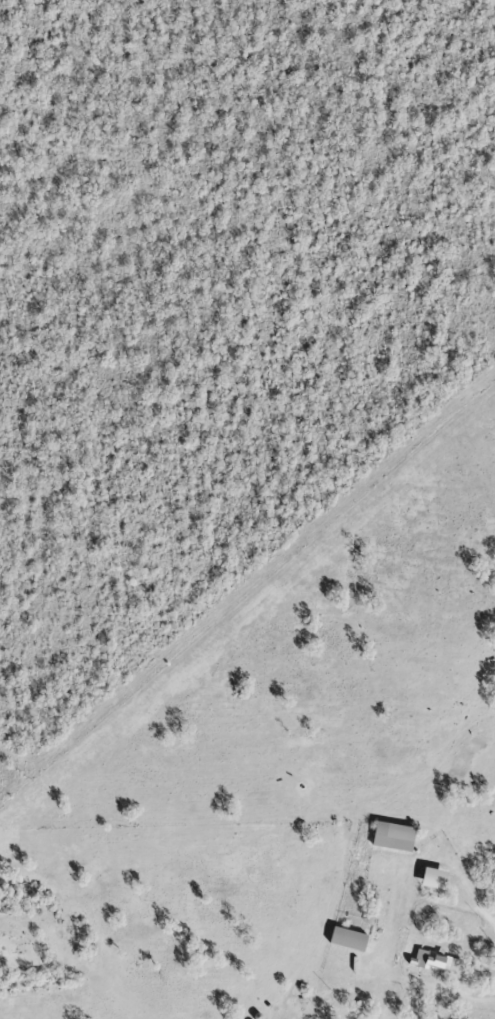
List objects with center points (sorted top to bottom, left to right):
building: (393, 838)
park: (29, 940)
building: (438, 964)

